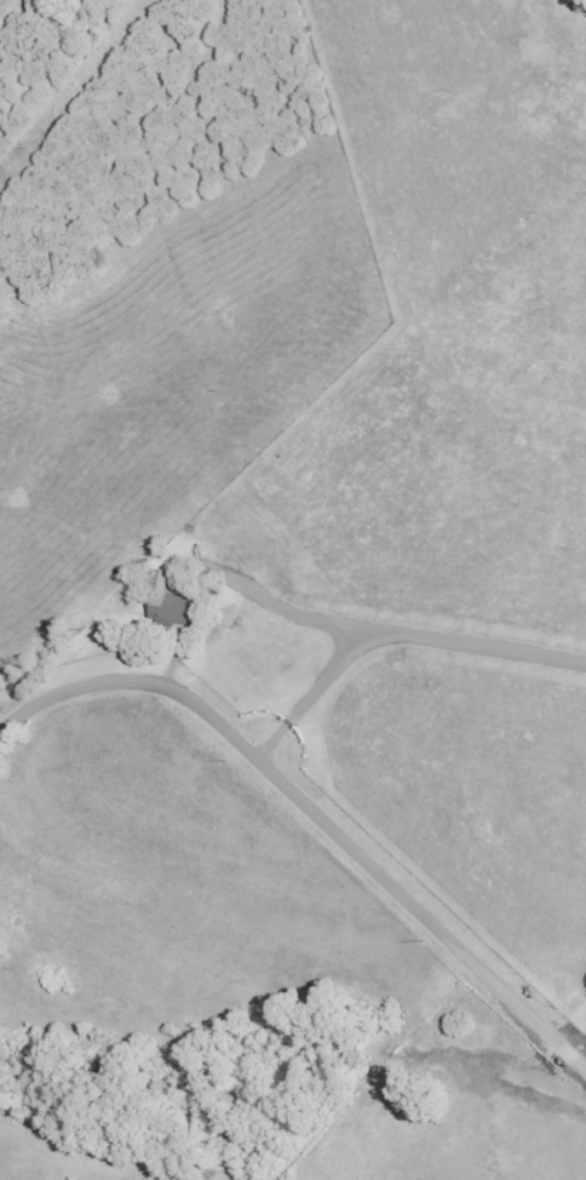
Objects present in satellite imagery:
building: (172, 602)
road: (315, 808)

